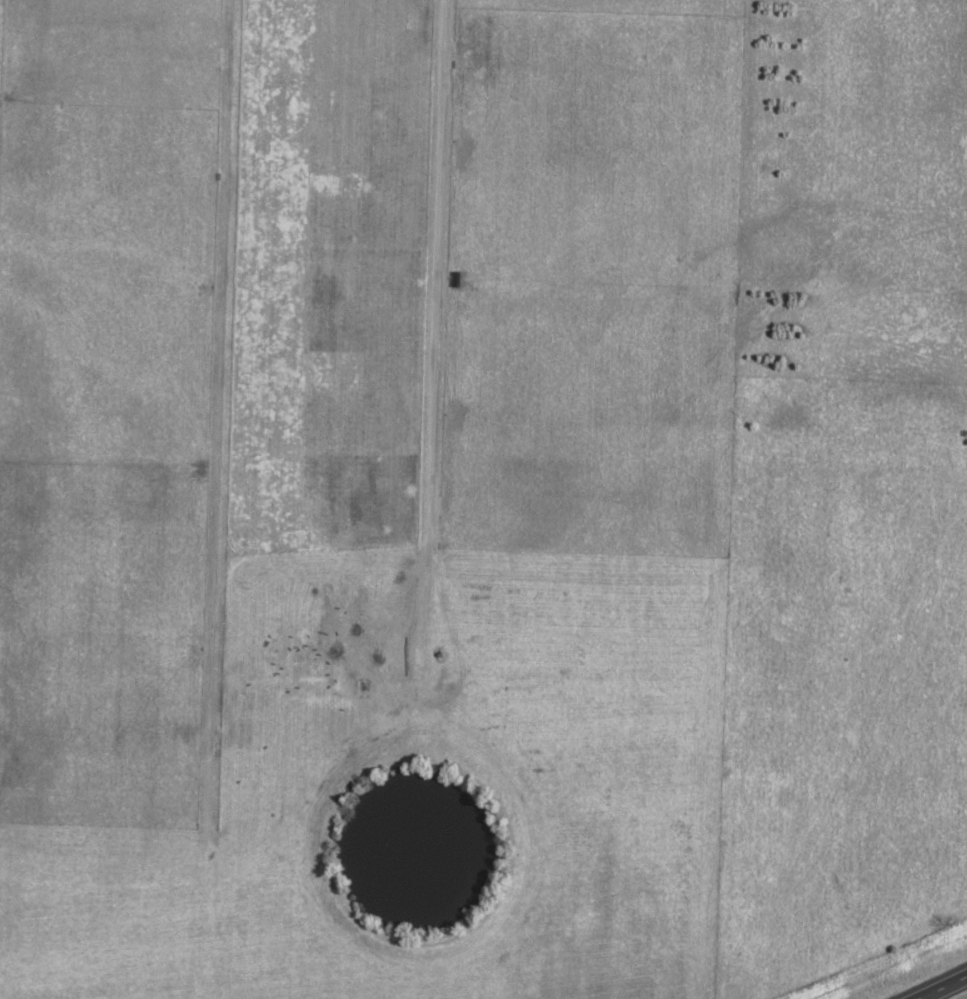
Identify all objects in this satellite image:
road: (942, 987)

